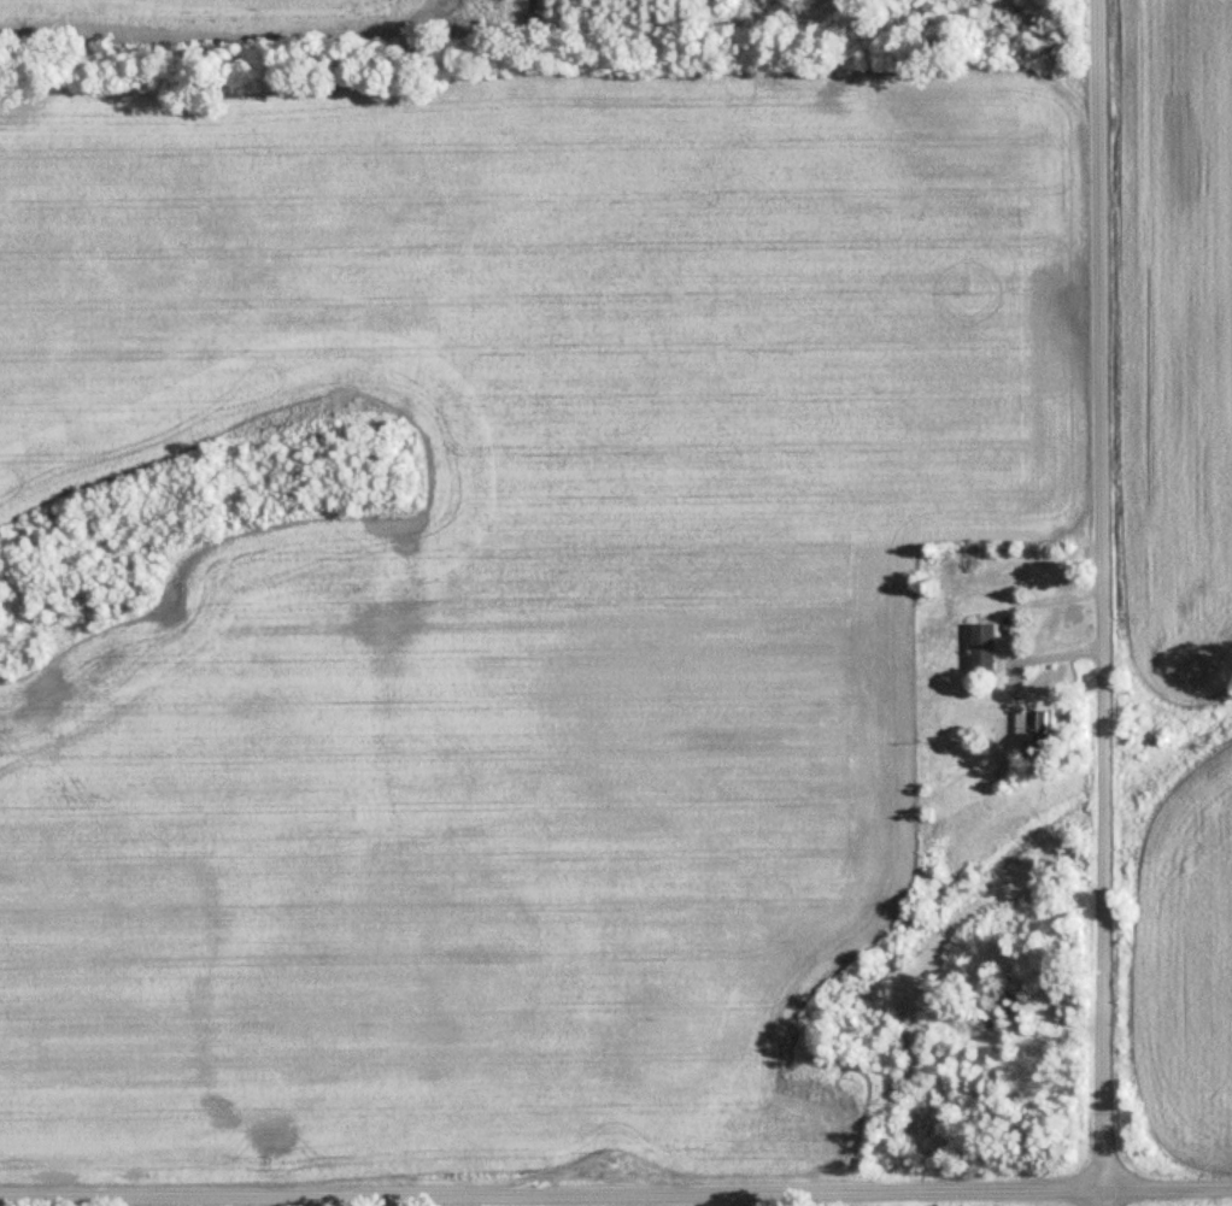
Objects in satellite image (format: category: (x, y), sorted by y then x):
road: (1102, 602)
building: (985, 648)
building: (1038, 731)
building: (939, 792)
road: (616, 1192)
road: (740, 1199)

